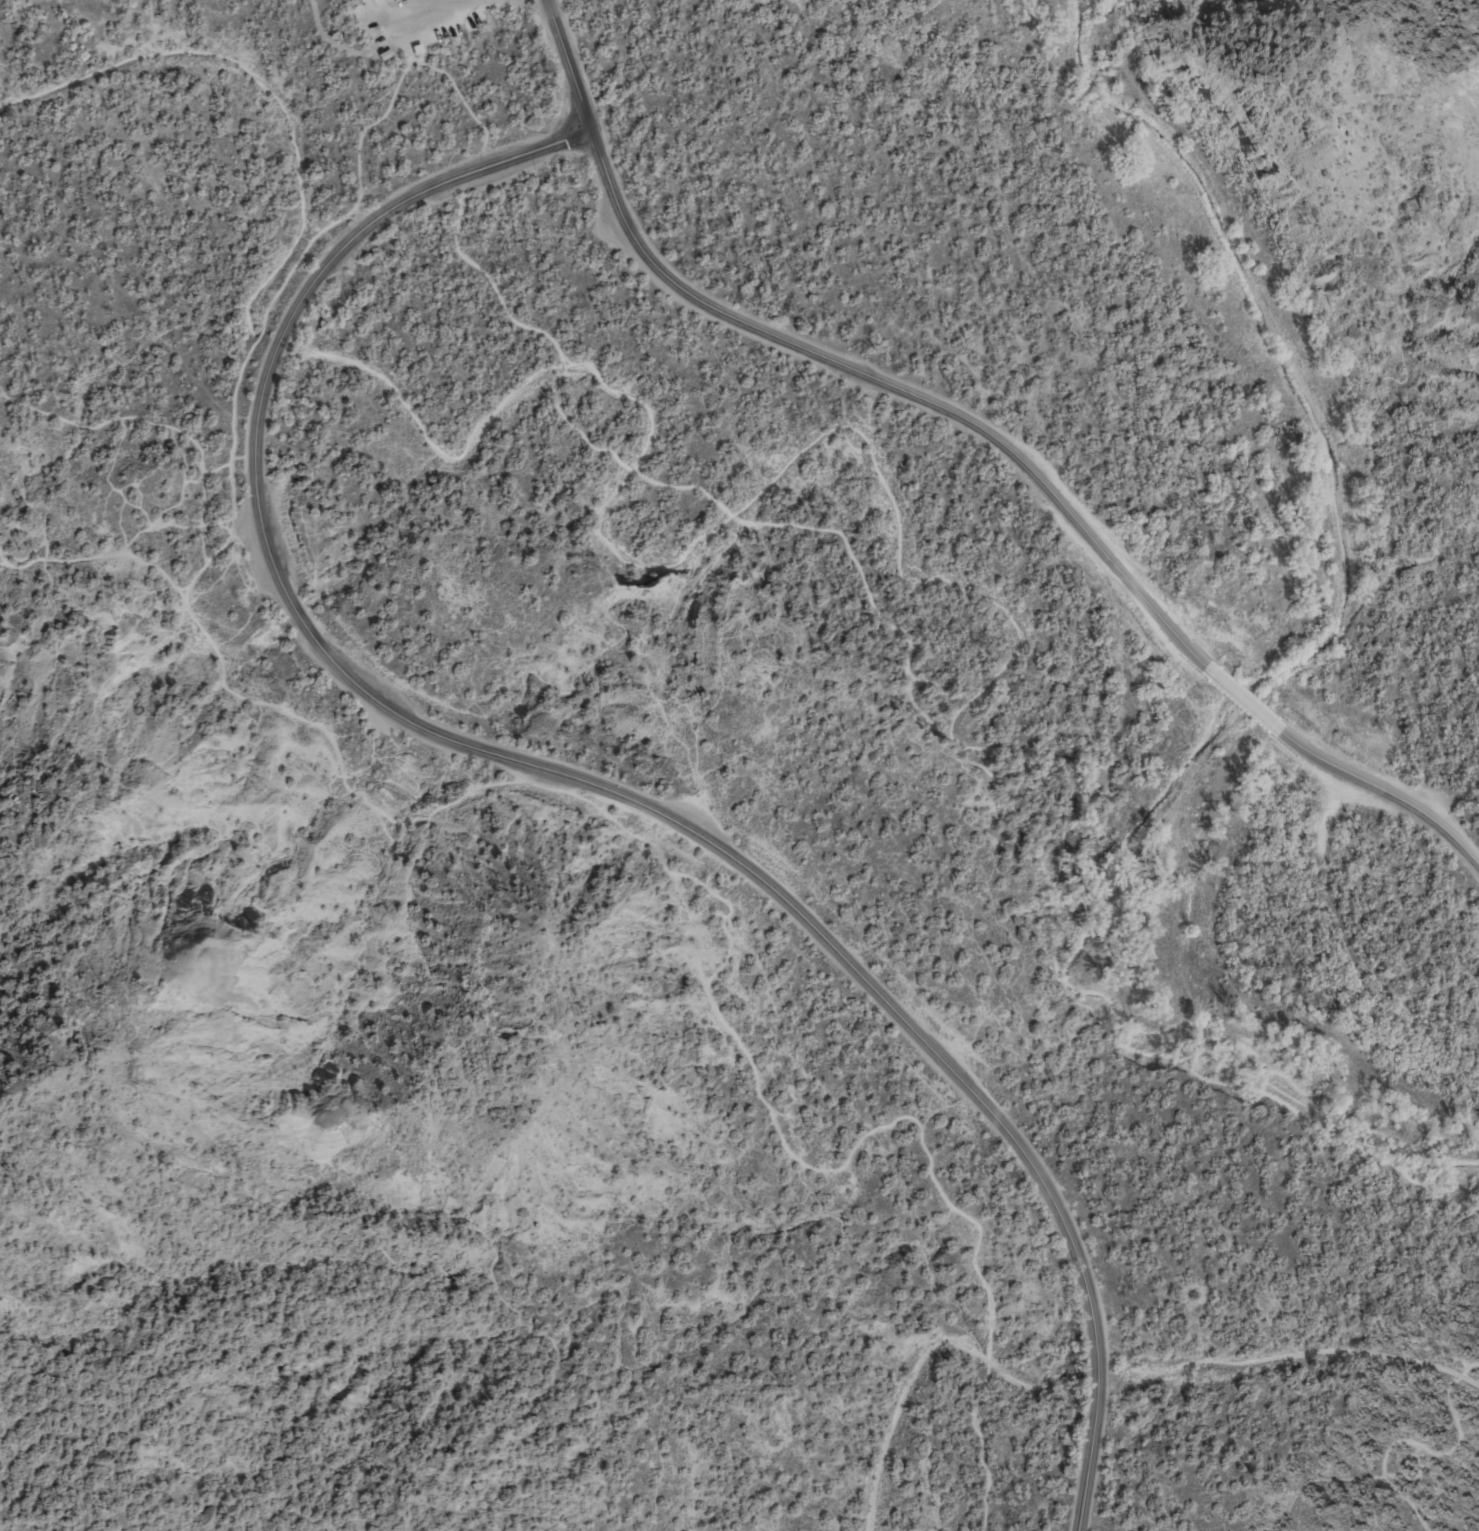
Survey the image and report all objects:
road: (444, 0)
road: (371, 4)
road: (416, 4)
parking lot: (412, 21)
road: (259, 331)
road: (829, 358)
road: (122, 547)
road: (911, 650)
road: (1237, 688)
river: (1249, 688)
road: (566, 776)
road: (1378, 786)
road: (728, 939)
road: (1421, 1447)

